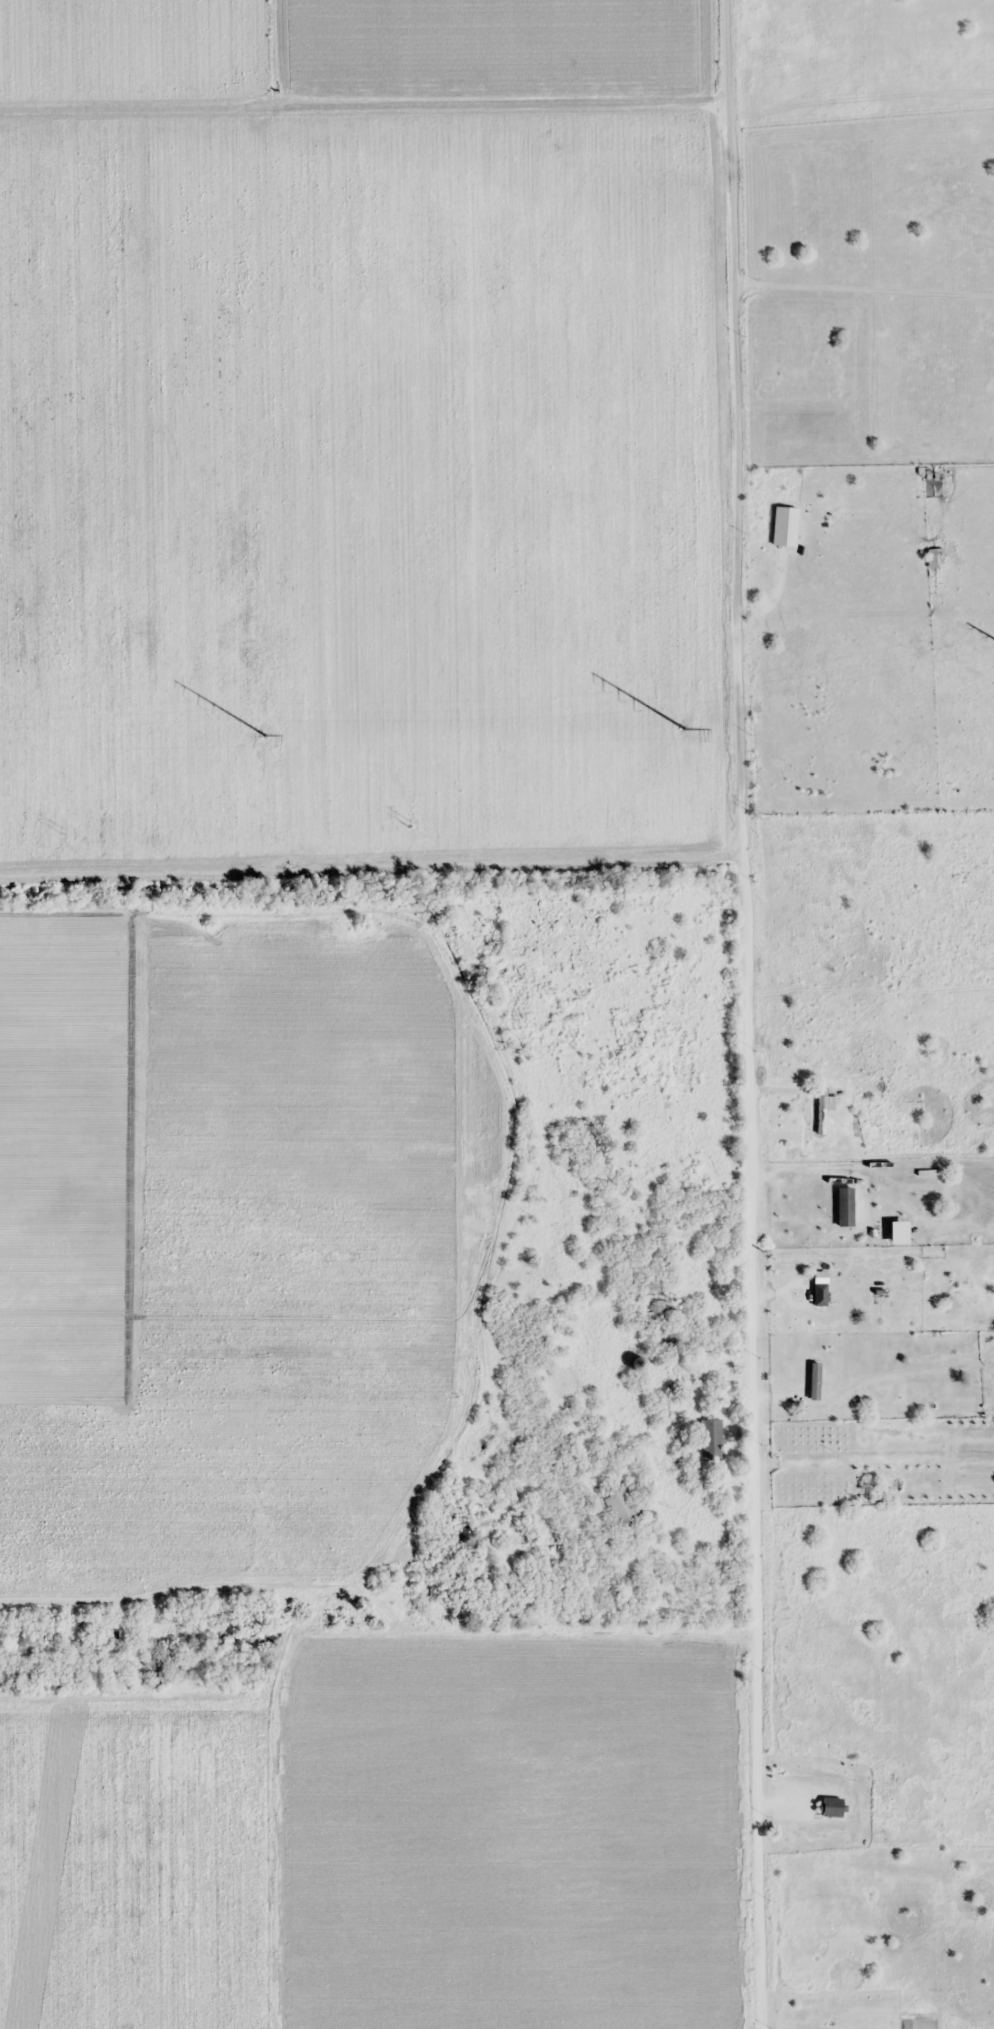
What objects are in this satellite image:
building: (784, 526)
power tower: (686, 728)
power tower: (264, 733)
power tower: (759, 814)
power tower: (410, 824)
power tower: (61, 829)
road: (743, 1014)
building: (821, 1111)
building: (669, 1339)
building: (638, 1364)
building: (671, 1372)
building: (591, 1439)
building: (710, 1439)
building: (625, 1507)

